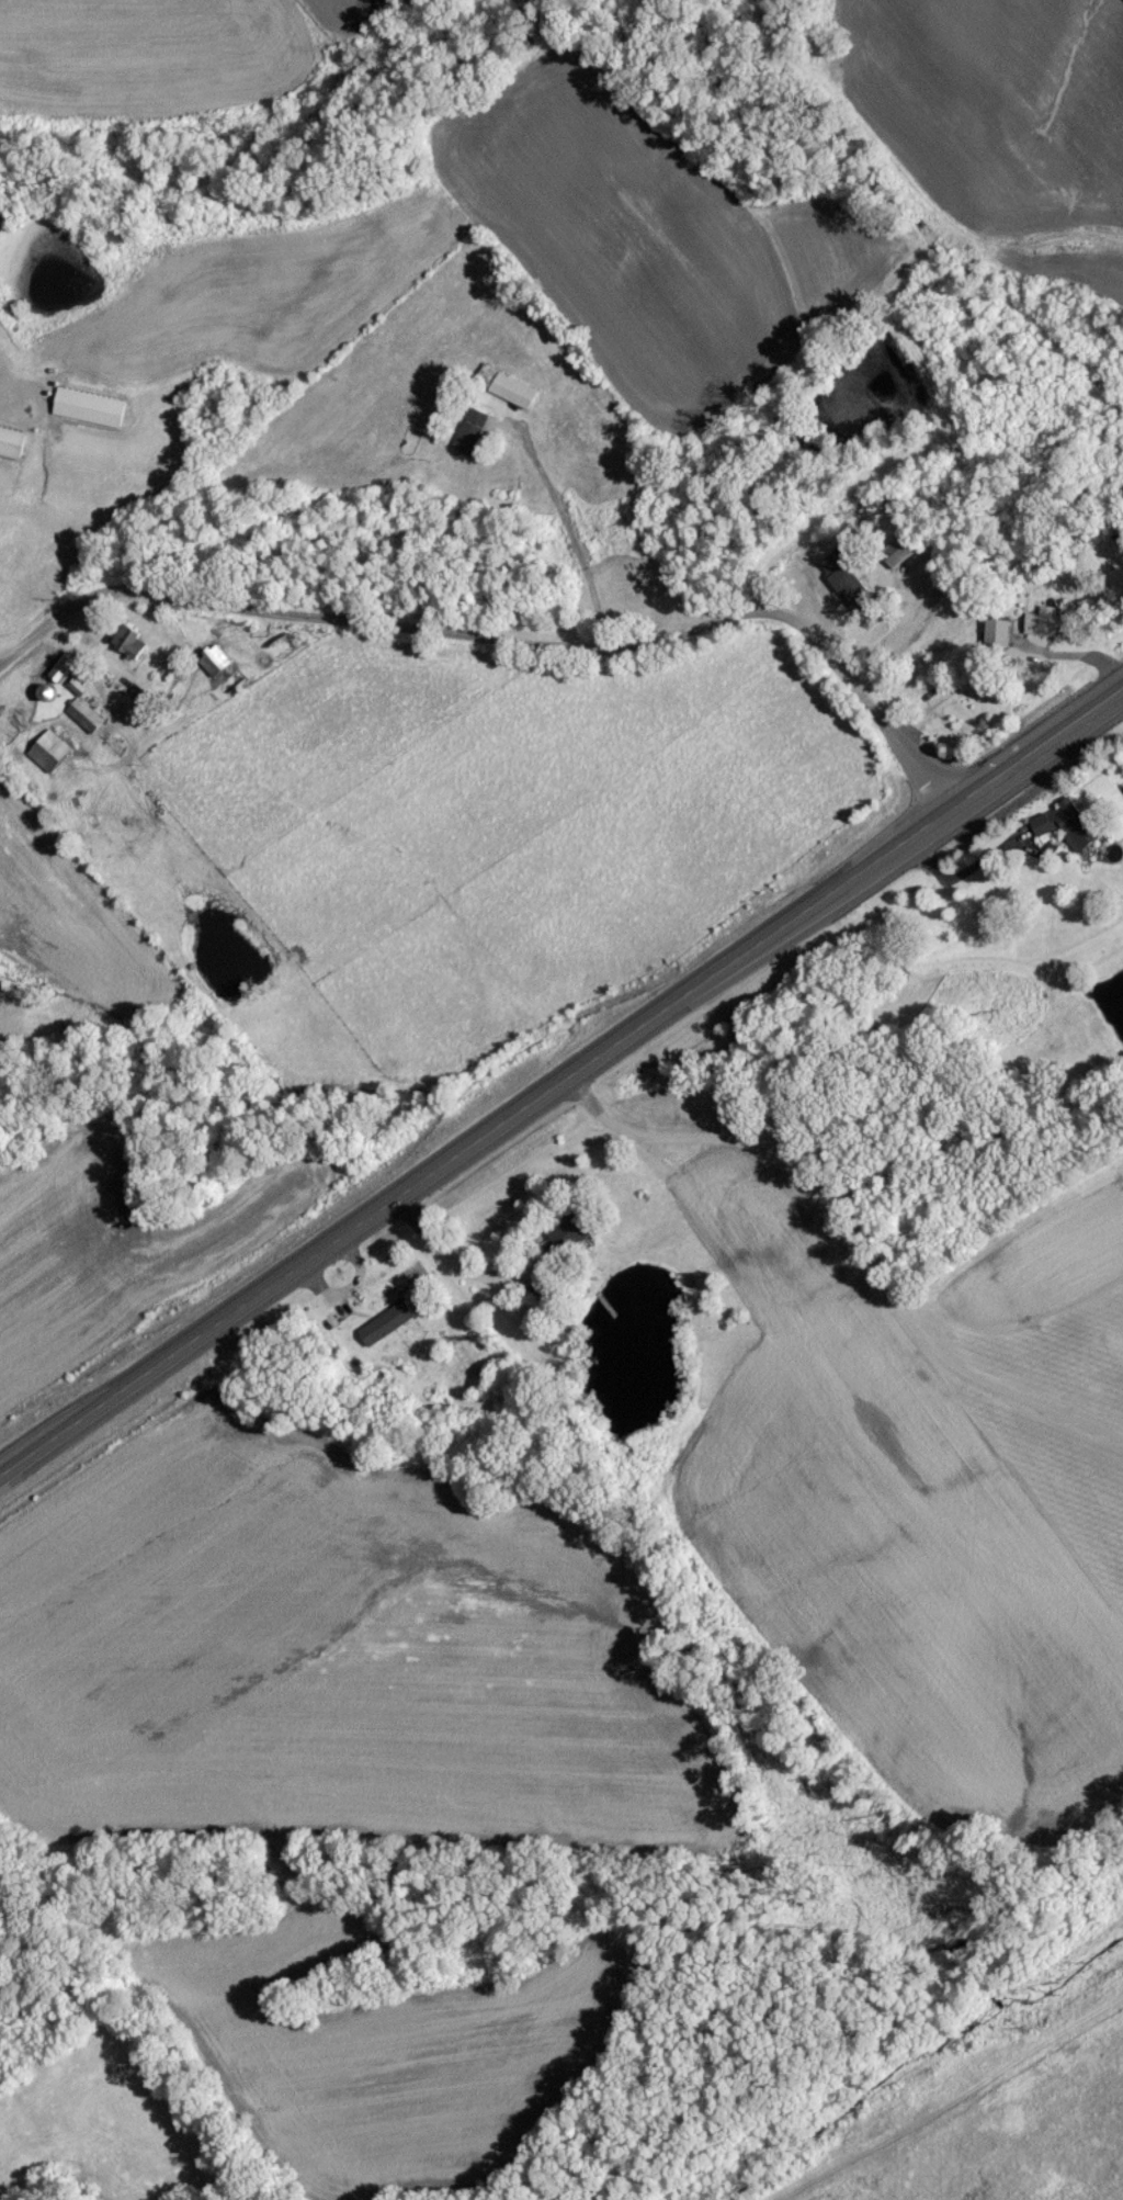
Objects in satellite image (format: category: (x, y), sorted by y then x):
building: (517, 397)
building: (90, 414)
building: (478, 440)
building: (13, 449)
building: (82, 452)
road: (576, 545)
building: (901, 557)
building: (1047, 630)
building: (135, 648)
road: (504, 650)
building: (291, 653)
building: (65, 675)
building: (224, 675)
building: (87, 722)
building: (52, 758)
building: (1073, 831)
road: (560, 1082)
building: (579, 1241)
road: (453, 1256)

